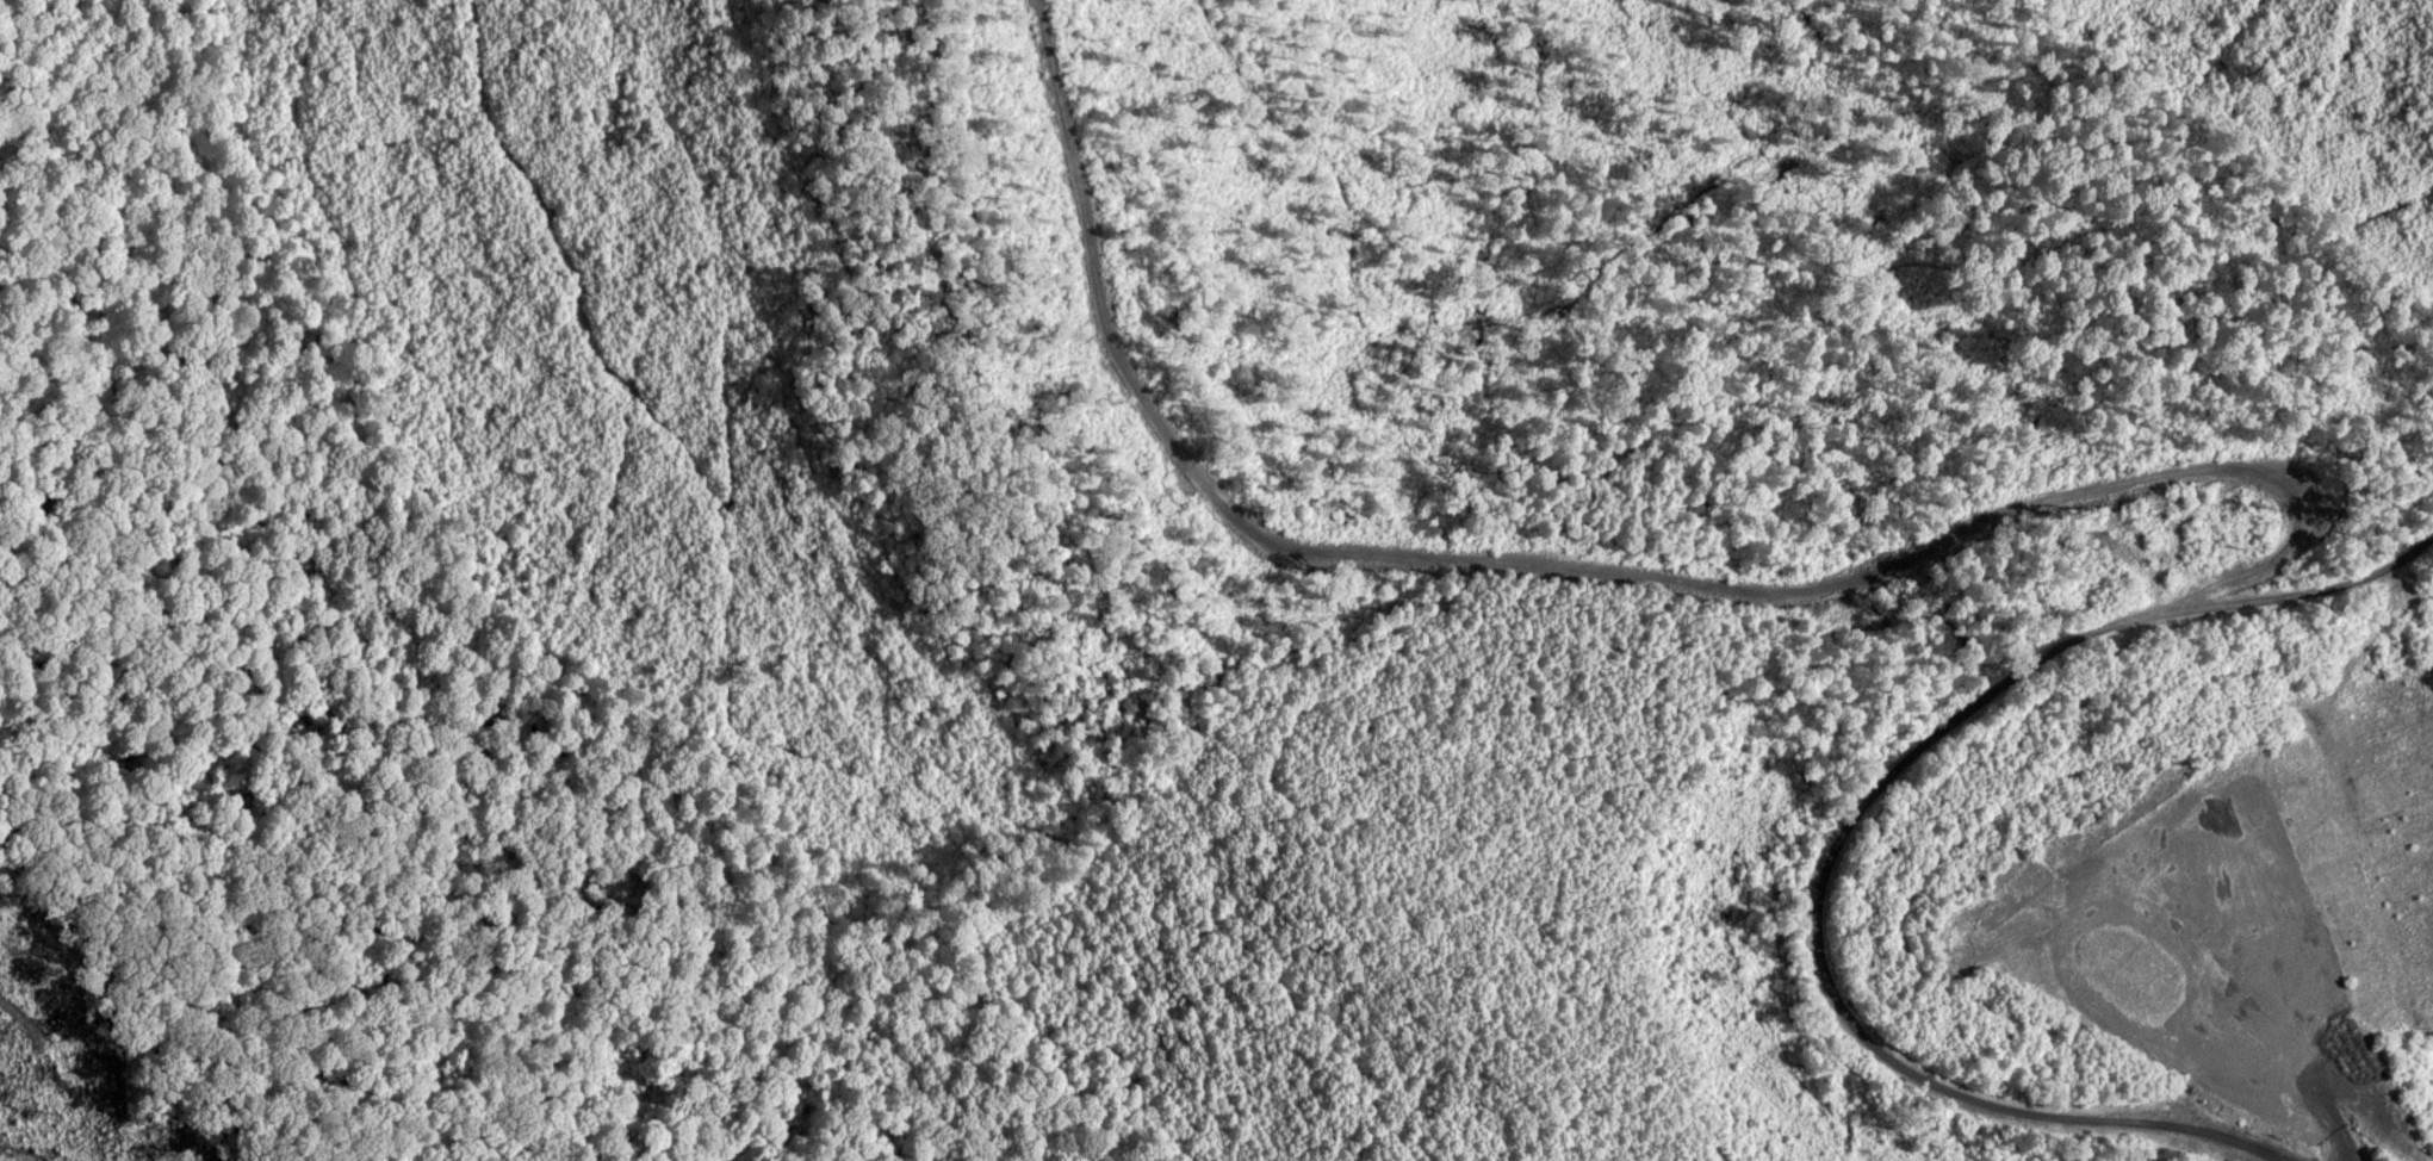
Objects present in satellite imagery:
building: (2260, 780)

